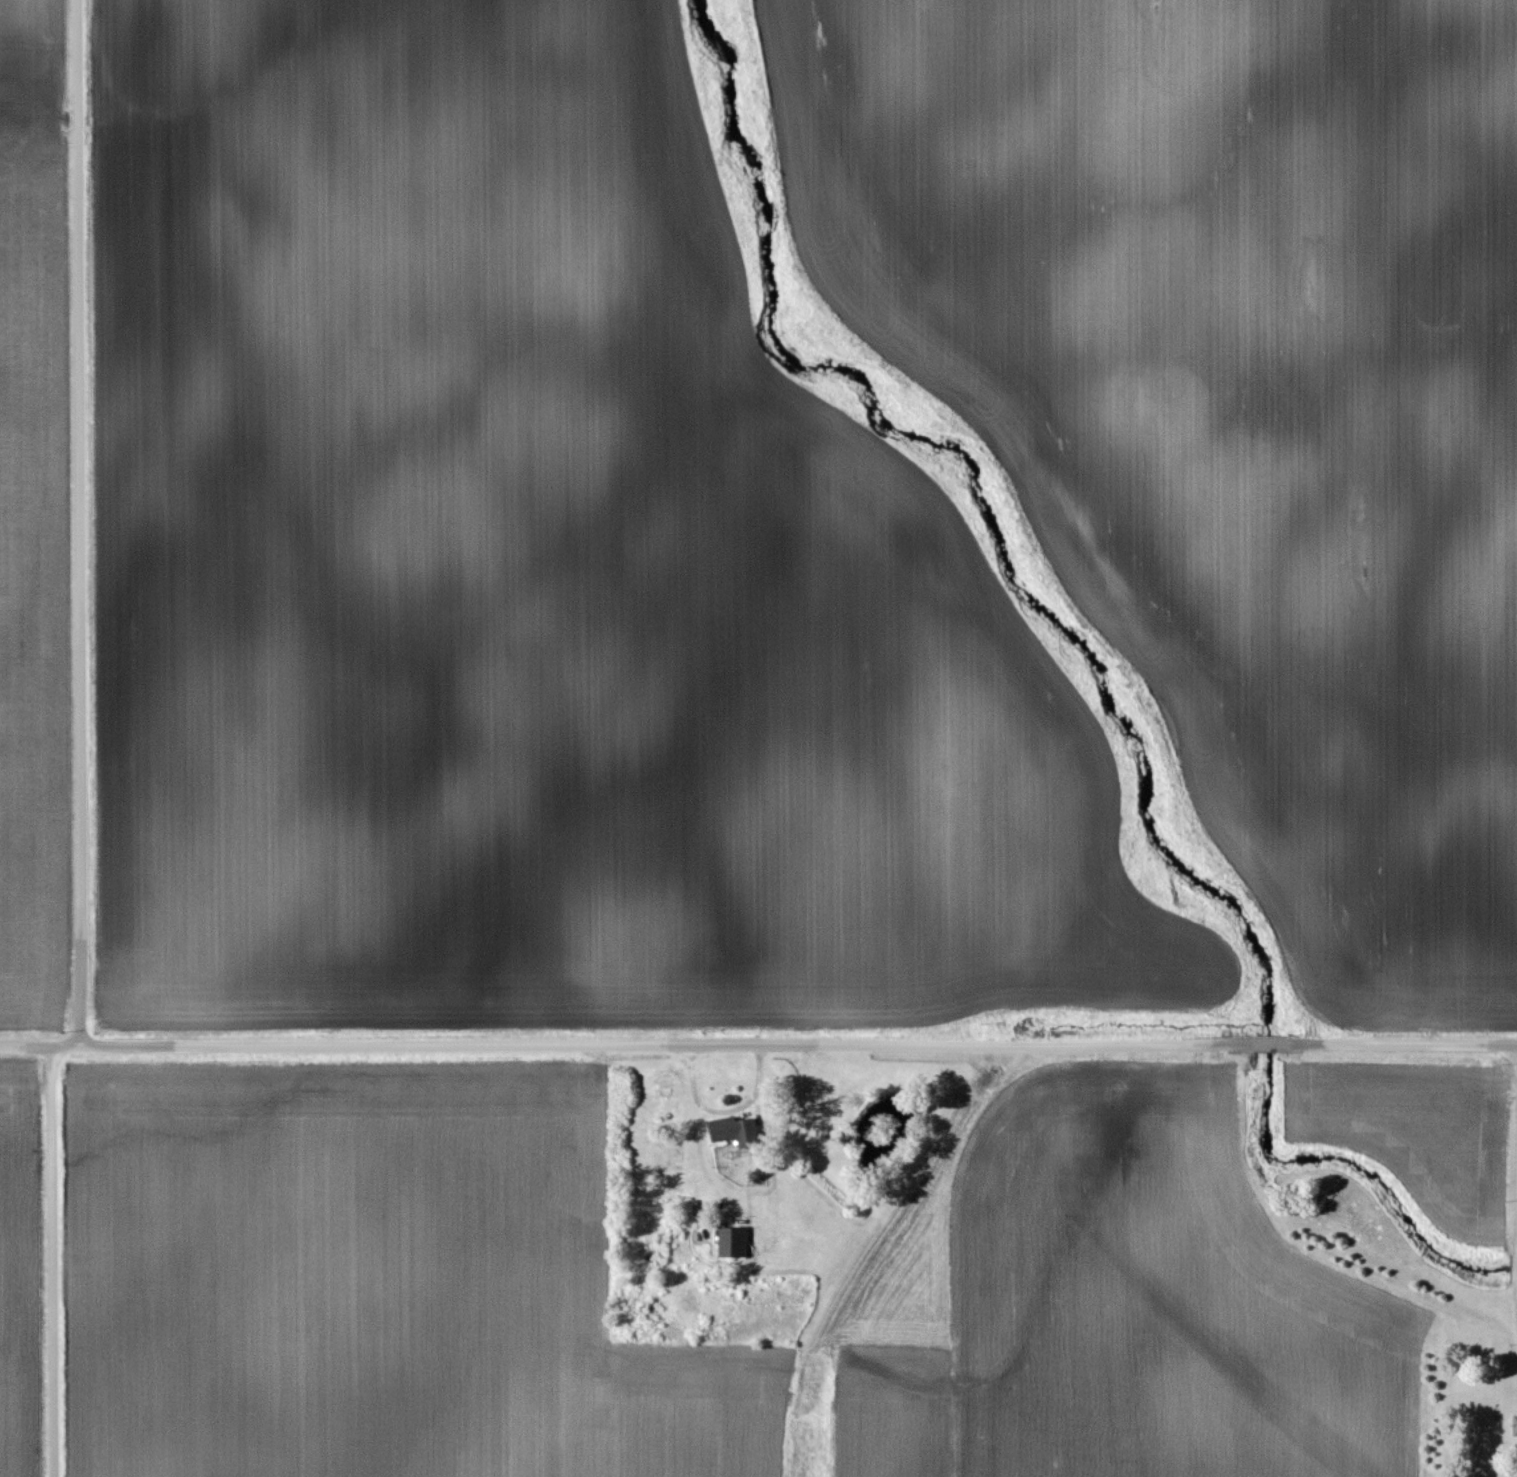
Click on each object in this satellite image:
road: (77, 523)
road: (792, 1043)
road: (33, 1044)
building: (724, 1130)
building: (730, 1240)
road: (57, 1258)
road: (1516, 1315)
building: (1513, 1426)

